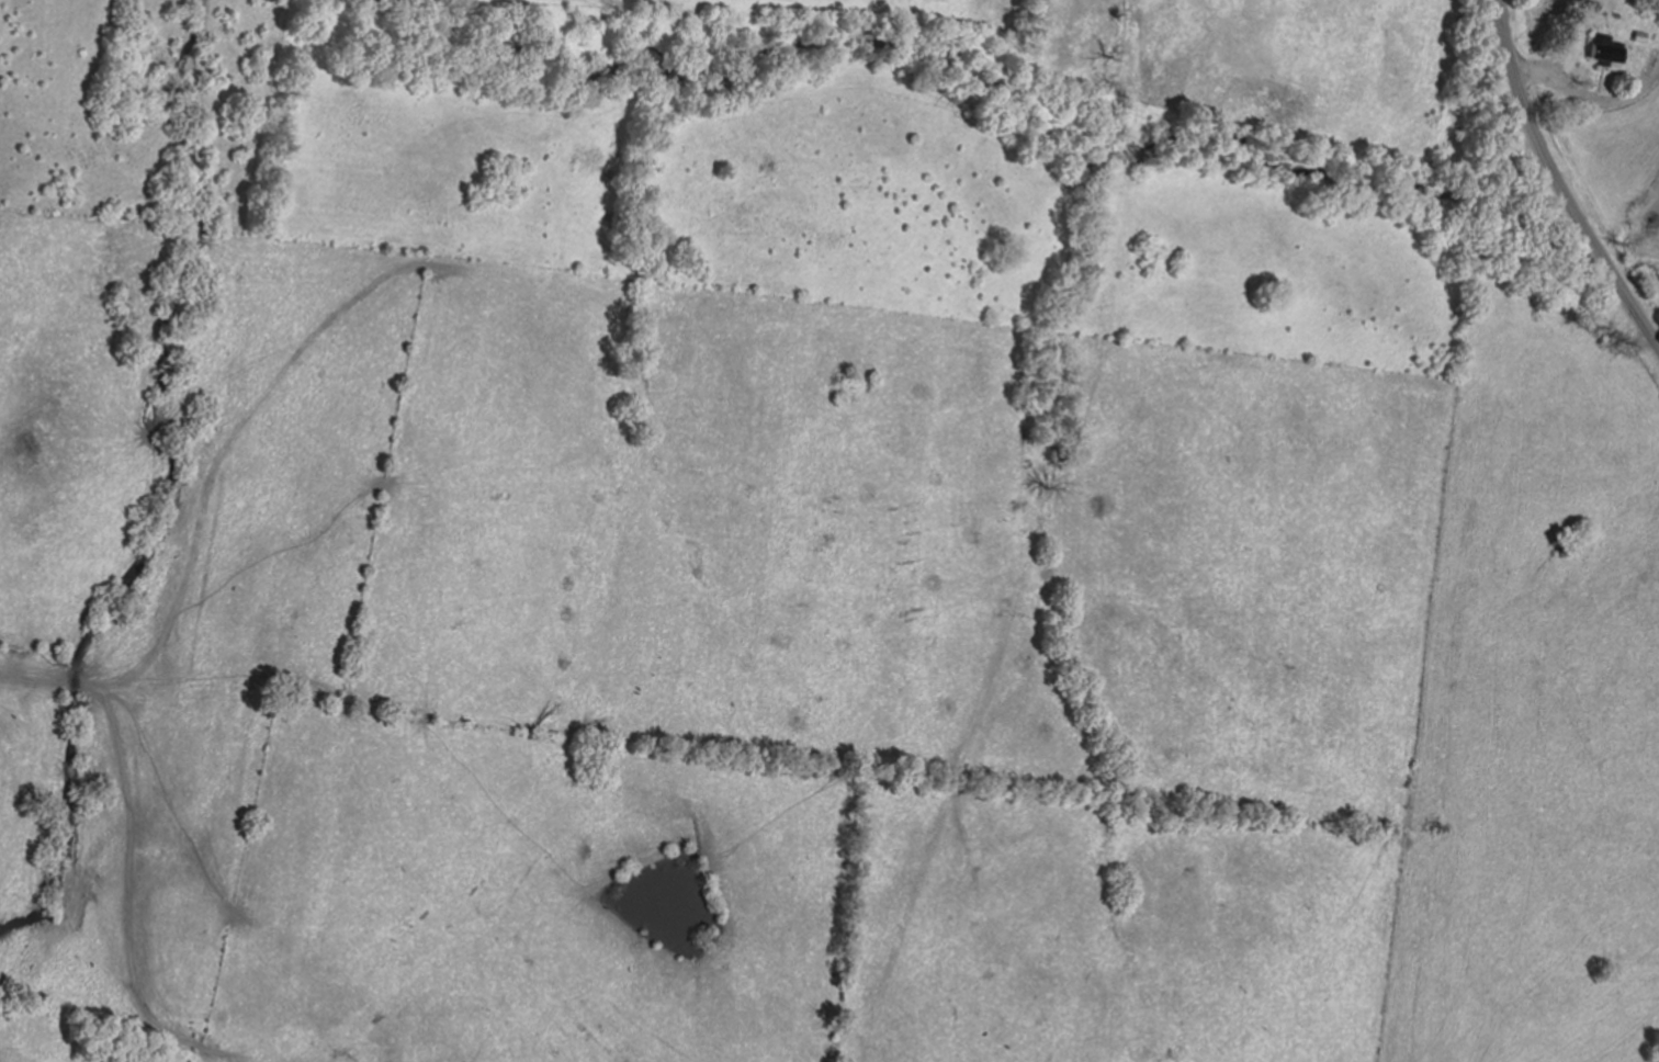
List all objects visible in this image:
building: (1602, 49)
road: (1558, 182)

